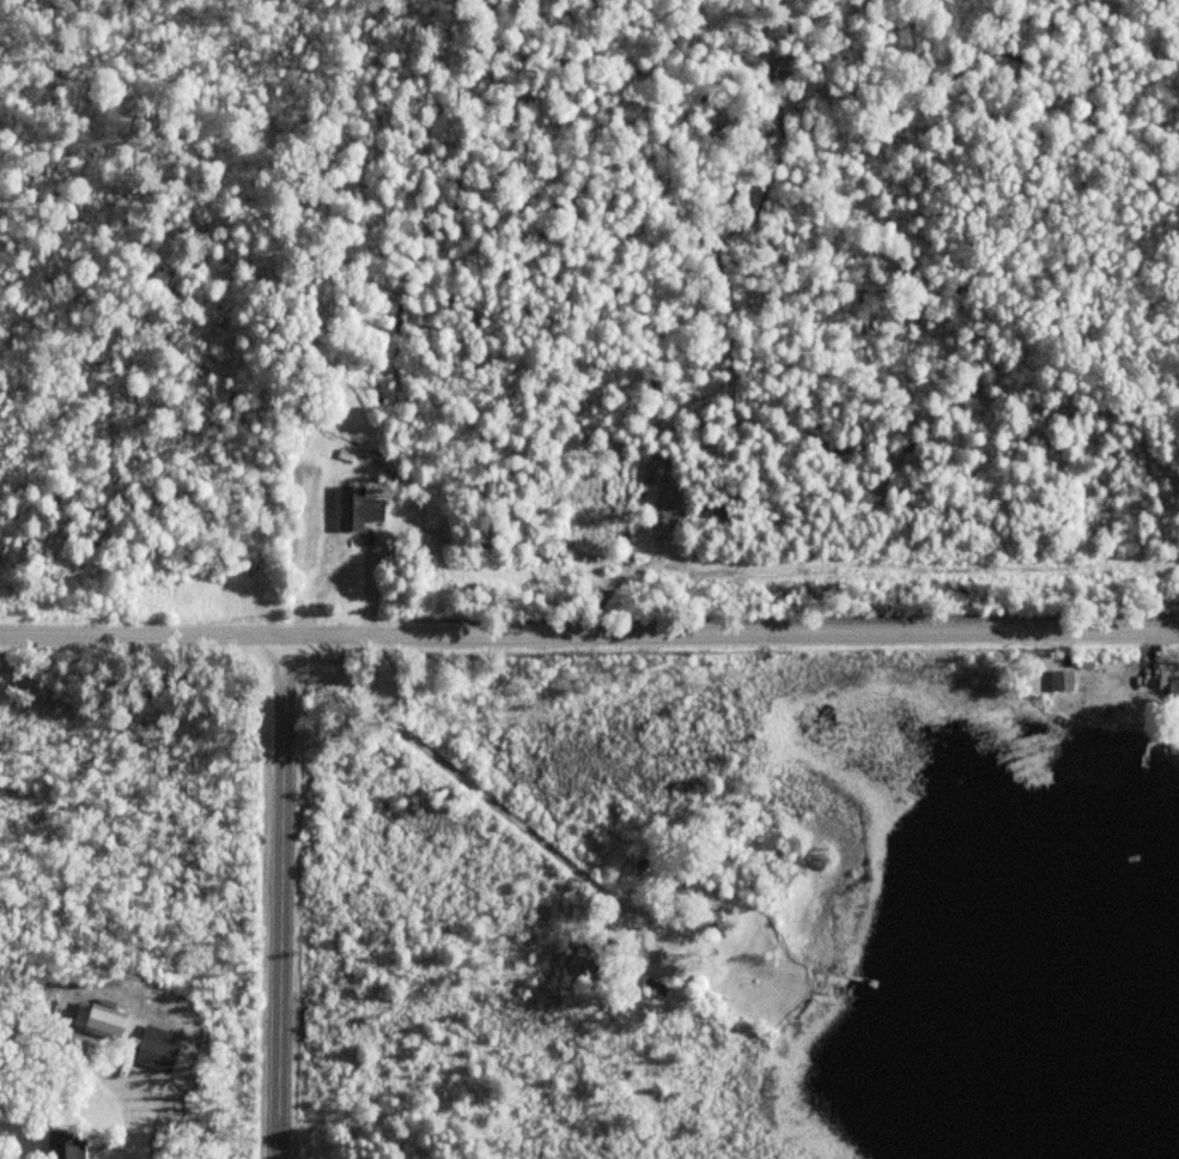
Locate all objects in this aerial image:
building: (643, 526)
road: (615, 581)
road: (589, 635)
building: (1059, 680)
building: (1160, 682)
road: (460, 778)
road: (281, 898)
building: (587, 963)
building: (105, 1019)
building: (158, 1045)
road: (123, 1116)
building: (68, 1142)

